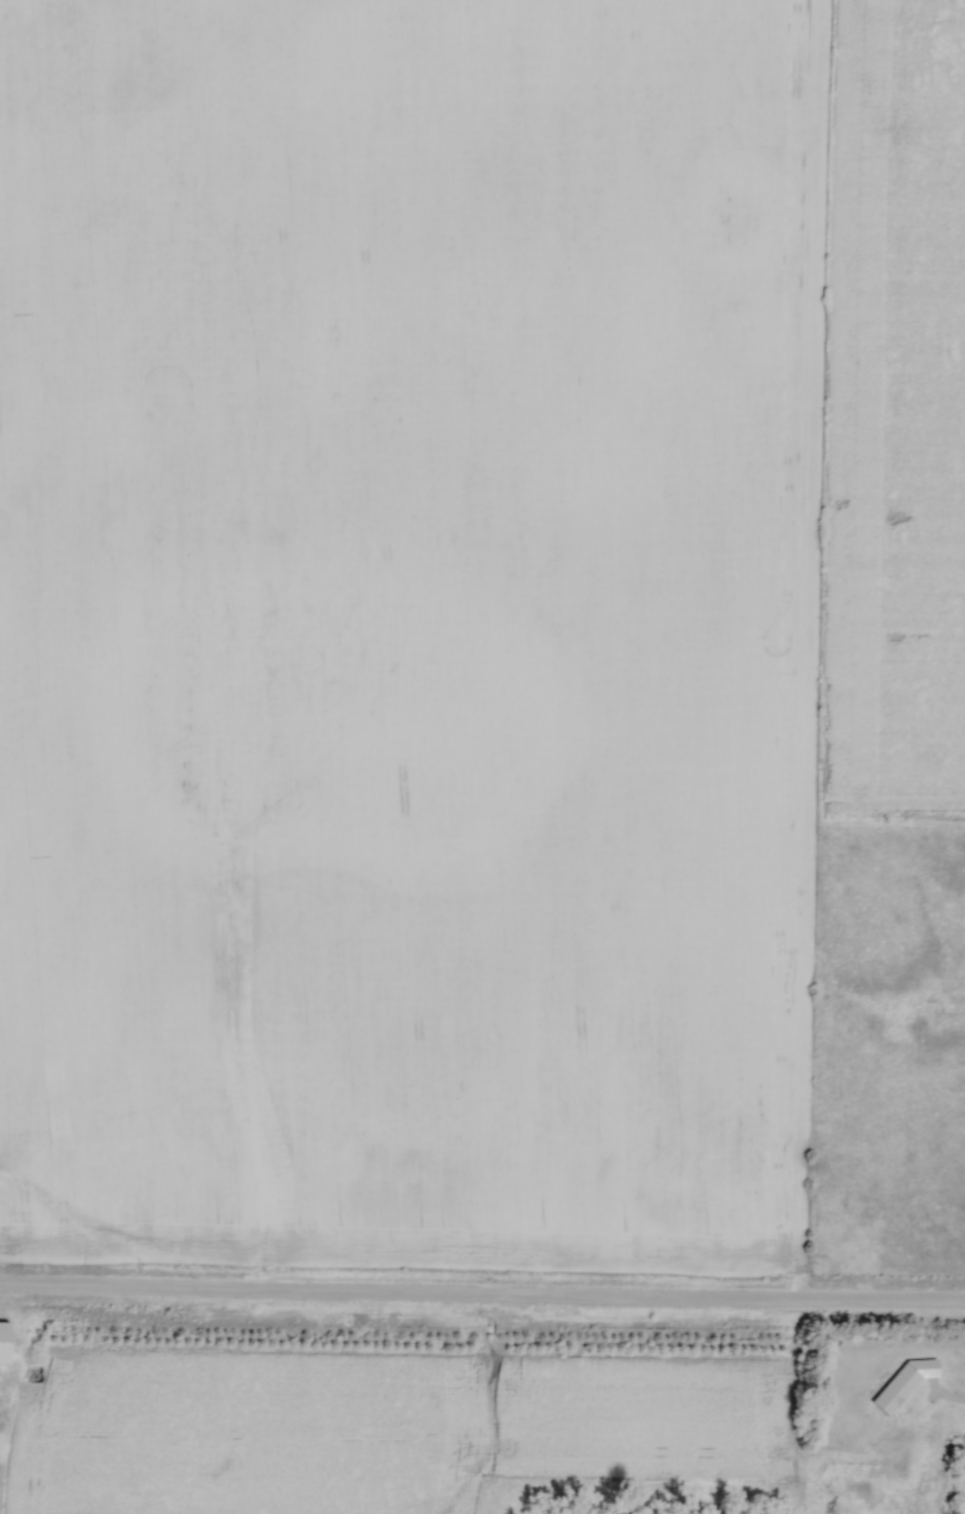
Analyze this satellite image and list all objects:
road: (482, 1300)
building: (898, 1385)

